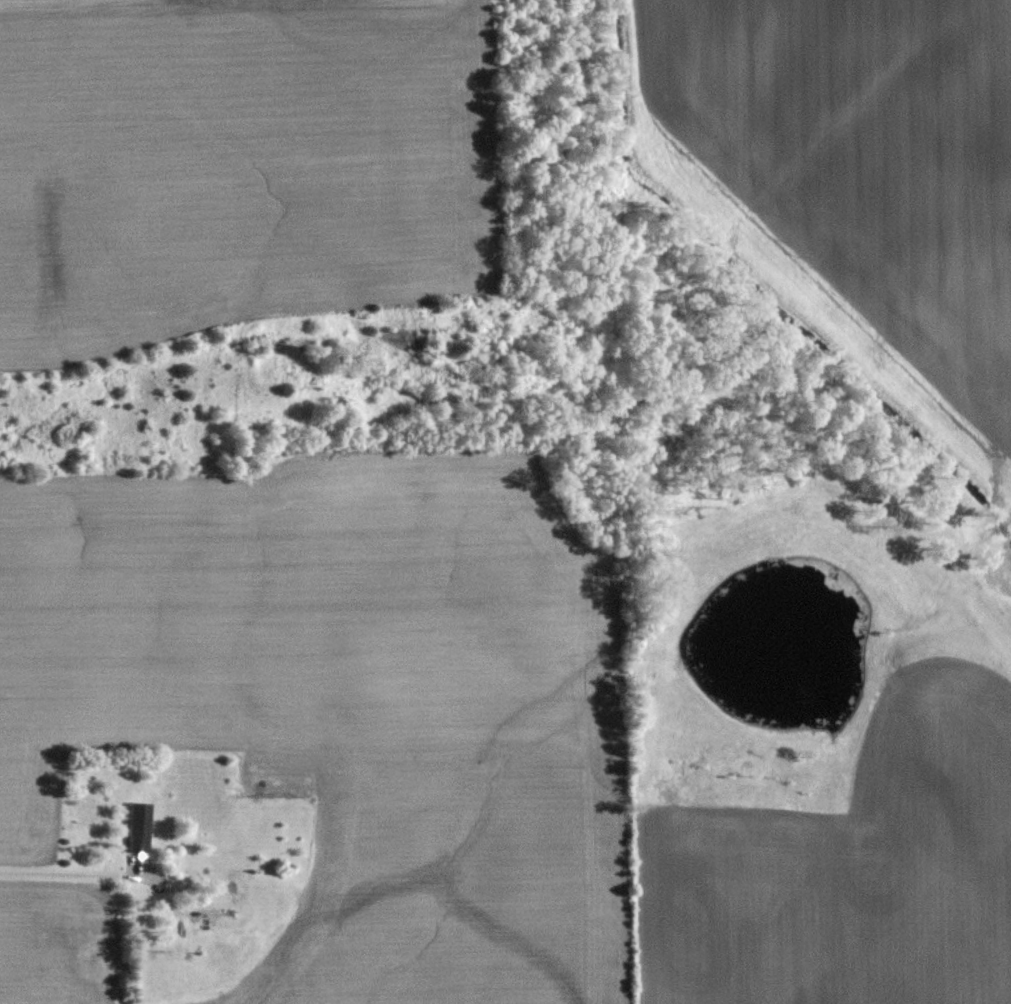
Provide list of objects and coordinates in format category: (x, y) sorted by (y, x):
building: (139, 826)
road: (68, 869)

